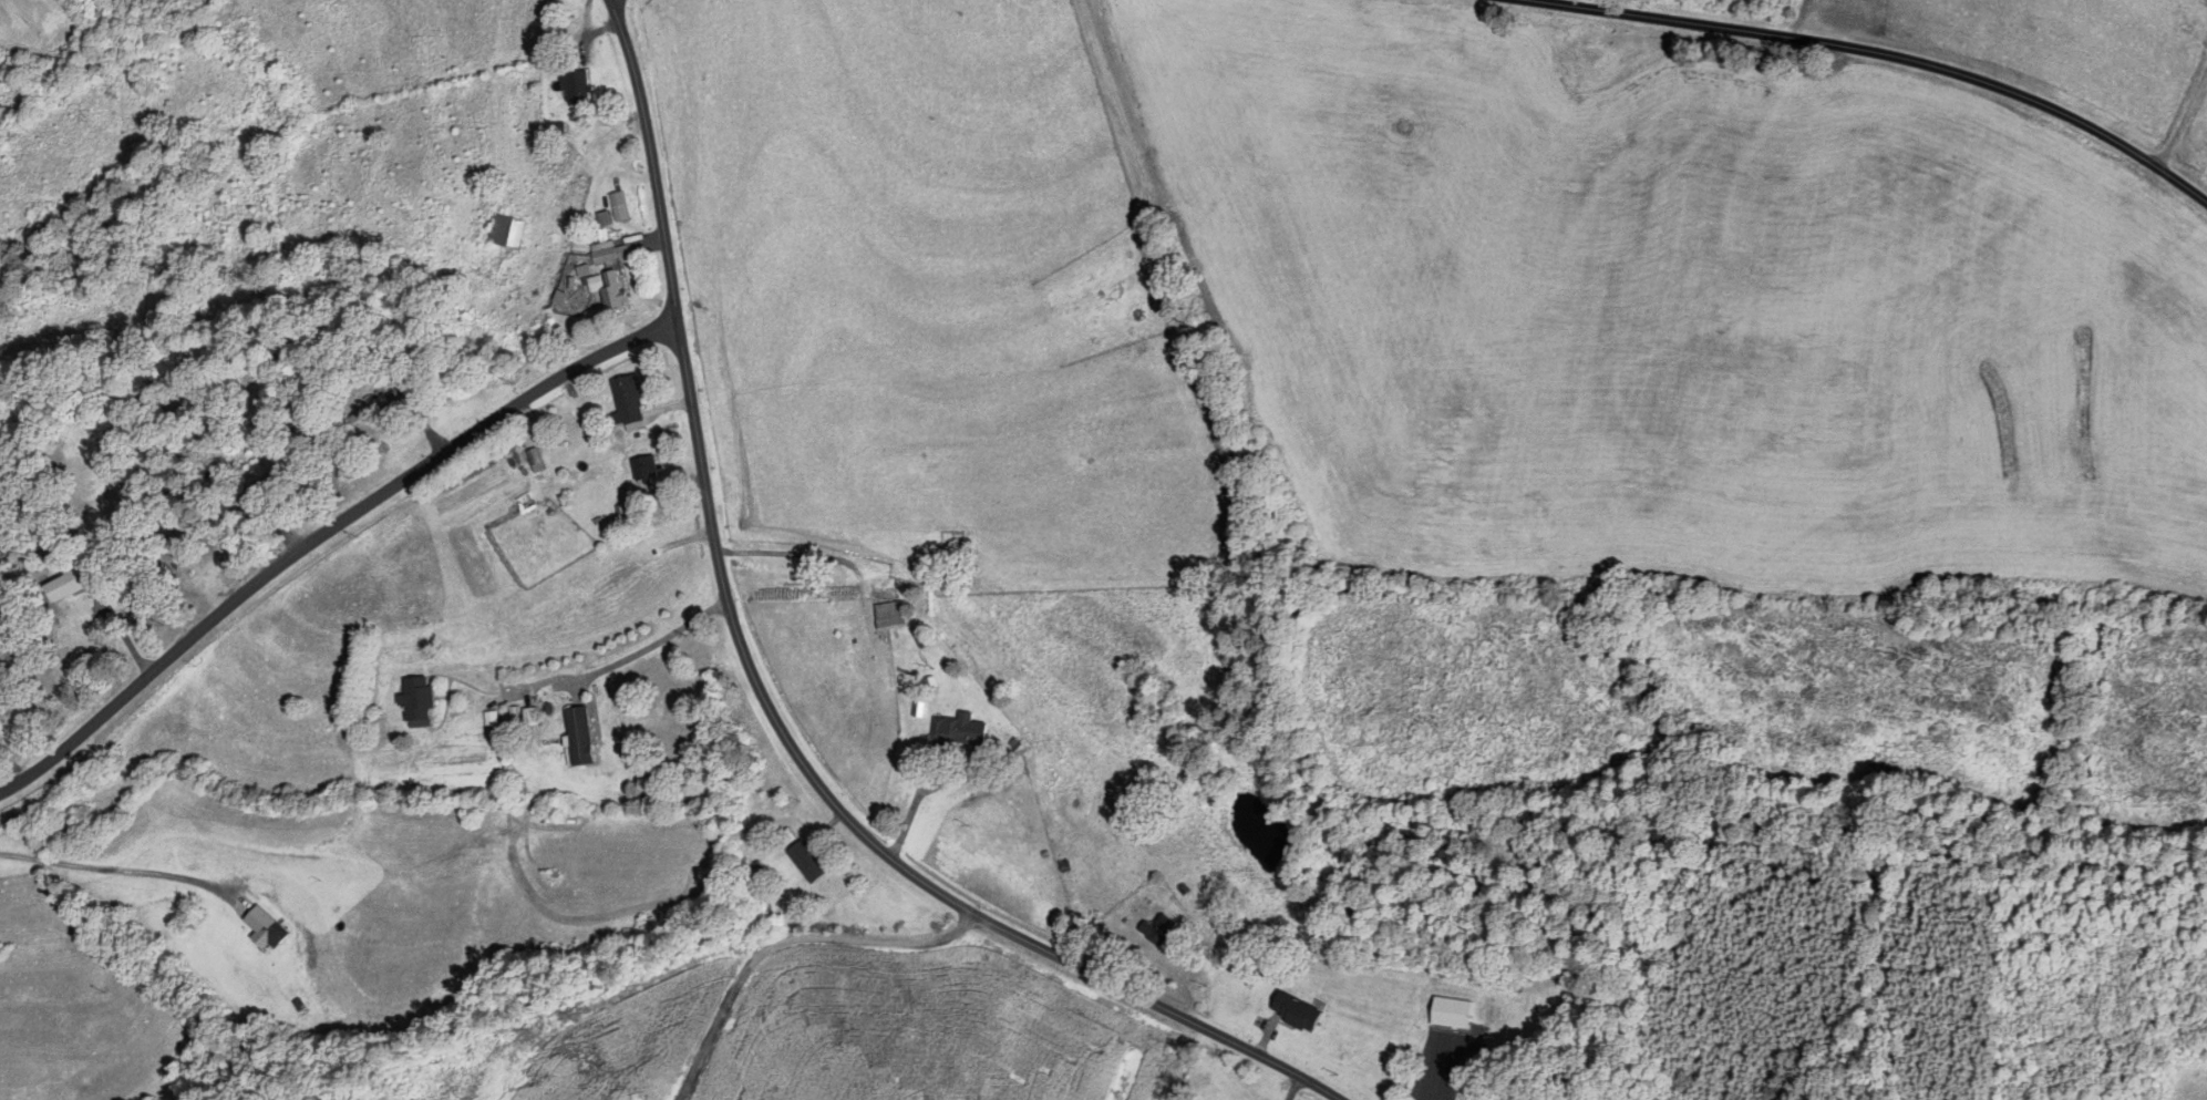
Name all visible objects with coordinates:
road: (1890, 53)
building: (576, 88)
building: (618, 206)
building: (506, 232)
building: (611, 253)
building: (608, 290)
building: (628, 401)
building: (368, 409)
building: (646, 471)
road: (324, 539)
building: (72, 583)
building: (890, 615)
road: (621, 659)
road: (763, 698)
building: (419, 701)
building: (960, 731)
building: (580, 734)
building: (1049, 750)
building: (1071, 805)
building: (786, 836)
building: (807, 861)
road: (120, 874)
building: (266, 927)
building: (1158, 928)
road: (774, 938)
building: (1298, 1011)
building: (1452, 1012)
park: (1578, 1081)
road: (1292, 1087)

